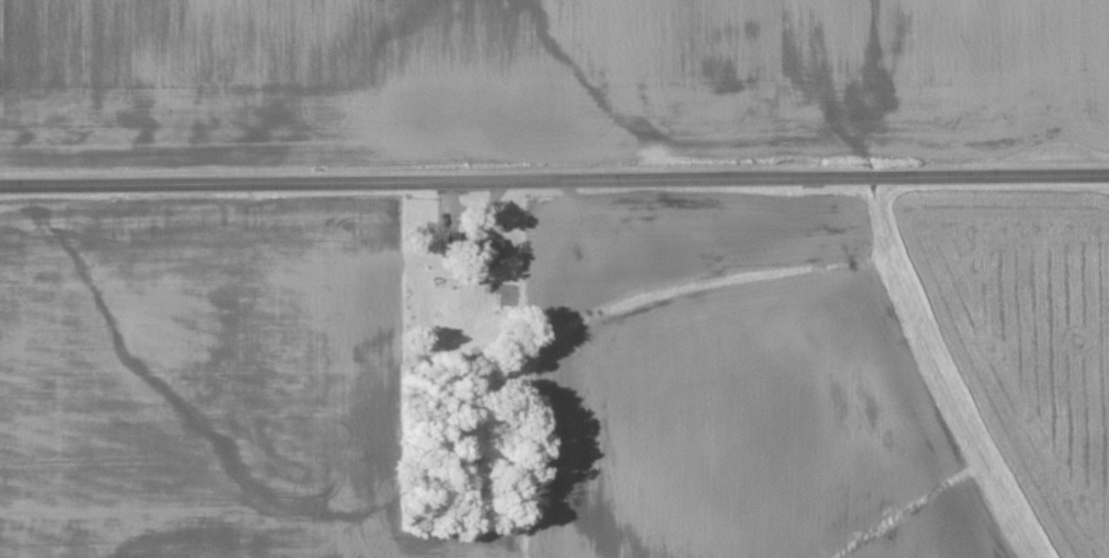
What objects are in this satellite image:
road: (554, 181)
building: (481, 251)

